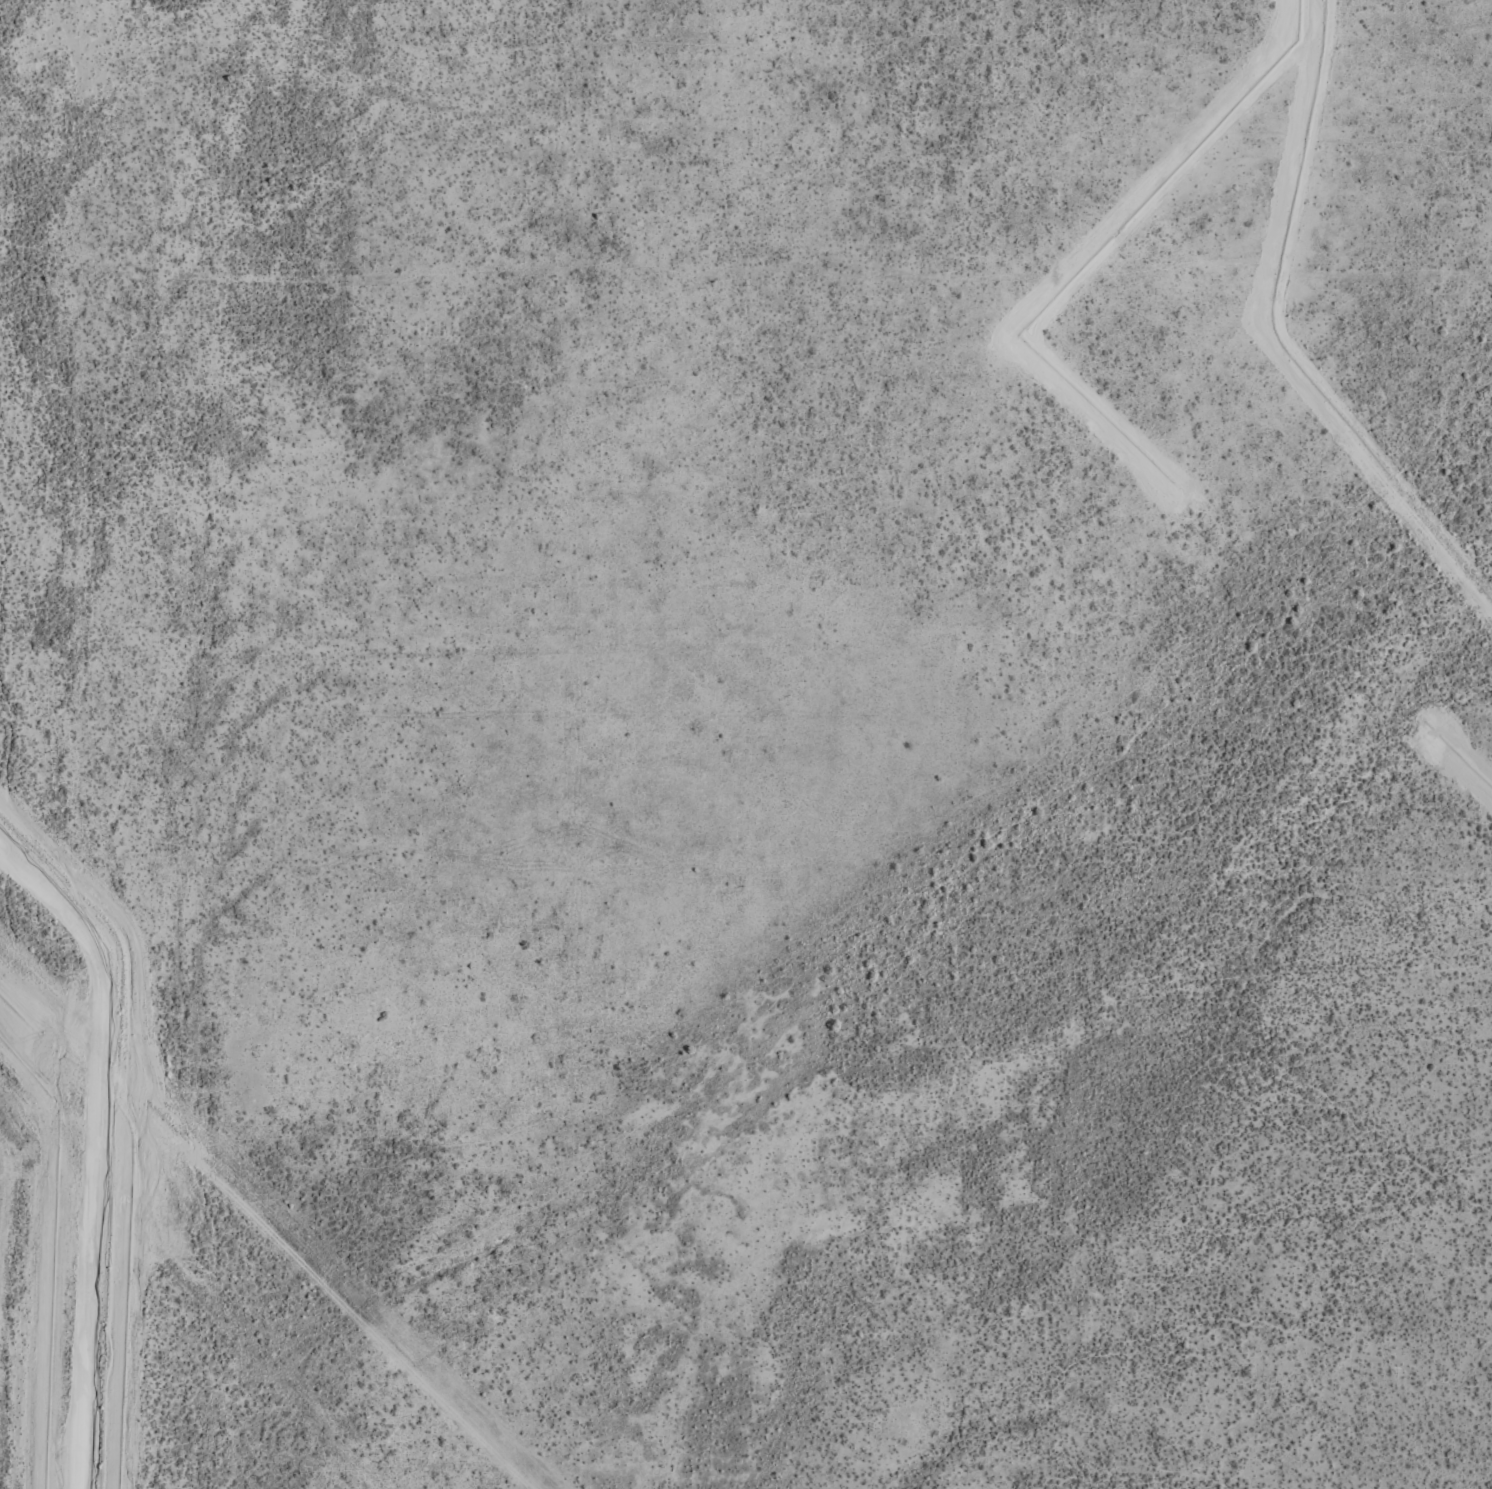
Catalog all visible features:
road: (97, 1145)

